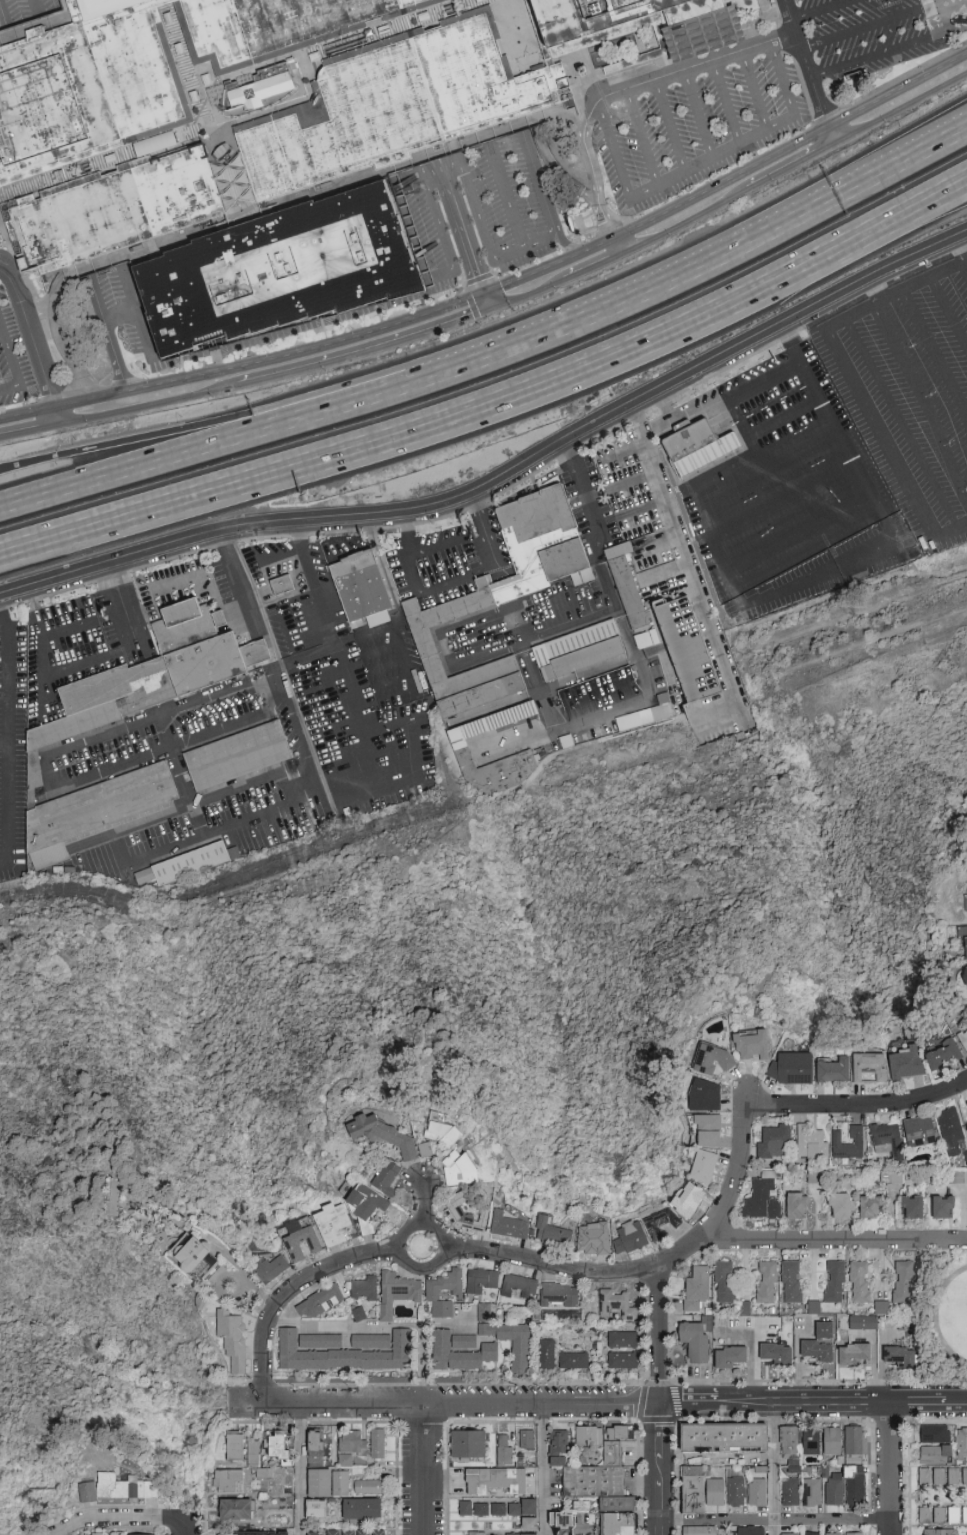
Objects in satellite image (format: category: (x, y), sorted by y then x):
road: (825, 12)
parking lot: (25, 13)
road: (45, 17)
road: (7, 22)
building: (645, 22)
road: (860, 30)
parking lot: (863, 35)
road: (545, 59)
road: (869, 59)
road: (186, 63)
road: (803, 63)
building: (143, 68)
road: (248, 72)
road: (896, 88)
road: (757, 90)
building: (262, 92)
road: (621, 92)
road: (790, 94)
road: (724, 104)
building: (394, 109)
road: (900, 109)
road: (270, 113)
road: (698, 115)
road: (669, 127)
parking lot: (698, 129)
road: (829, 136)
road: (641, 139)
road: (713, 159)
road: (617, 167)
road: (791, 168)
road: (560, 172)
road: (229, 173)
road: (542, 184)
road: (511, 198)
parking lot: (510, 201)
building: (115, 211)
road: (895, 212)
road: (658, 215)
road: (461, 220)
road: (482, 221)
road: (686, 222)
road: (895, 223)
road: (445, 238)
road: (567, 243)
road: (962, 250)
road: (2, 251)
road: (593, 266)
road: (696, 266)
building: (281, 270)
parking lot: (439, 279)
road: (924, 279)
road: (131, 290)
road: (528, 294)
road: (489, 301)
road: (38, 308)
road: (862, 308)
road: (949, 310)
road: (139, 315)
road: (105, 337)
road: (31, 341)
road: (64, 341)
road: (366, 351)
road: (157, 355)
road: (934, 356)
road: (245, 364)
parking lot: (13, 369)
road: (13, 370)
road: (721, 395)
road: (923, 400)
road: (147, 406)
road: (784, 419)
road: (902, 422)
road: (419, 424)
road: (206, 425)
road: (27, 429)
road: (881, 432)
road: (207, 442)
building: (703, 451)
road: (621, 452)
road: (729, 474)
road: (503, 476)
road: (621, 483)
road: (777, 483)
road: (788, 507)
road: (630, 509)
road: (484, 528)
road: (951, 530)
road: (407, 532)
road: (789, 534)
road: (656, 536)
road: (437, 543)
road: (689, 564)
road: (440, 585)
road: (153, 587)
building: (283, 587)
building: (362, 589)
building: (509, 602)
road: (326, 619)
building: (647, 637)
road: (486, 649)
building: (583, 656)
road: (64, 671)
road: (270, 672)
road: (688, 673)
road: (215, 693)
road: (638, 703)
road: (5, 732)
road: (519, 739)
road: (2, 740)
building: (46, 743)
building: (465, 750)
building: (240, 759)
road: (94, 769)
road: (189, 797)
road: (151, 818)
building: (191, 861)
building: (145, 874)
building: (964, 906)
building: (964, 946)
building: (966, 978)
building: (964, 1032)
building: (964, 1038)
building: (960, 1039)
building: (754, 1046)
building: (946, 1055)
building: (715, 1061)
building: (908, 1064)
building: (871, 1068)
building: (793, 1070)
building: (835, 1071)
road: (744, 1096)
building: (707, 1097)
building: (965, 1105)
building: (708, 1131)
building: (953, 1131)
building: (443, 1132)
building: (922, 1132)
building: (384, 1135)
building: (889, 1141)
building: (776, 1142)
building: (838, 1142)
building: (813, 1144)
building: (422, 1148)
building: (427, 1151)
building: (966, 1154)
building: (705, 1167)
building: (461, 1171)
building: (958, 1177)
building: (816, 1178)
building: (893, 1178)
building: (388, 1180)
road: (727, 1194)
building: (765, 1198)
road: (421, 1200)
building: (691, 1202)
building: (115, 1203)
building: (367, 1207)
building: (798, 1207)
building: (842, 1207)
building: (872, 1208)
building: (915, 1208)
building: (945, 1209)
building: (465, 1215)
building: (662, 1224)
building: (333, 1225)
building: (511, 1227)
building: (555, 1234)
building: (632, 1239)
road: (832, 1239)
building: (596, 1240)
building: (300, 1241)
building: (197, 1260)
road: (882, 1267)
road: (421, 1268)
building: (272, 1270)
building: (483, 1281)
building: (905, 1281)
building: (726, 1282)
building: (769, 1282)
building: (793, 1282)
building: (836, 1282)
building: (861, 1283)
building: (520, 1287)
road: (287, 1289)
building: (698, 1289)
building: (367, 1290)
building: (434, 1293)
building: (399, 1294)
building: (561, 1296)
building: (203, 1301)
building: (322, 1303)
building: (618, 1306)
building: (815, 1307)
building: (745, 1308)
building: (883, 1308)
road: (941, 1313)
building: (359, 1314)
building: (486, 1314)
park: (948, 1317)
building: (865, 1323)
road: (368, 1324)
building: (818, 1328)
road: (659, 1333)
building: (698, 1339)
building: (624, 1341)
building: (322, 1342)
building: (372, 1342)
building: (466, 1342)
building: (234, 1343)
building: (822, 1343)
building: (514, 1344)
building: (599, 1349)
building: (462, 1354)
building: (778, 1354)
building: (855, 1354)
building: (548, 1355)
building: (346, 1356)
building: (731, 1357)
building: (903, 1357)
building: (624, 1361)
building: (576, 1362)
road: (420, 1364)
road: (874, 1369)
road: (919, 1403)
road: (956, 1403)
road: (459, 1404)
road: (806, 1404)
road: (691, 1405)
building: (931, 1432)
road: (661, 1433)
building: (589, 1436)
building: (720, 1436)
building: (528, 1439)
building: (856, 1440)
building: (789, 1441)
building: (832, 1441)
building: (960, 1441)
building: (811, 1442)
building: (316, 1443)
building: (377, 1443)
building: (462, 1443)
building: (235, 1445)
building: (278, 1445)
building: (351, 1446)
building: (478, 1447)
building: (501, 1449)
building: (253, 1453)
building: (930, 1453)
road: (892, 1468)
road: (300, 1469)
road: (425, 1469)
road: (545, 1469)
building: (596, 1470)
road: (661, 1470)
road: (775, 1470)
building: (963, 1474)
building: (921, 1475)
building: (935, 1475)
building: (950, 1475)
building: (227, 1480)
building: (492, 1481)
building: (319, 1482)
building: (341, 1483)
building: (855, 1485)
building: (369, 1486)
building: (125, 1487)
building: (697, 1489)
building: (834, 1489)
building: (736, 1491)
building: (757, 1491)
building: (790, 1491)
building: (87, 1492)
building: (812, 1492)
road: (661, 1502)
building: (361, 1508)
building: (527, 1508)
building: (236, 1509)
building: (462, 1510)
building: (478, 1511)
building: (496, 1511)
building: (512, 1511)
road: (123, 1513)
building: (920, 1514)
building: (935, 1514)
building: (950, 1514)
building: (963, 1514)
building: (561, 1519)
building: (617, 1524)
road: (776, 1524)
building: (527, 1525)
road: (189, 1526)
road: (660, 1530)
building: (704, 1530)
building: (750, 1530)
road: (73, 1531)
building: (937, 1531)
building: (332, 1532)
building: (348, 1532)
building: (363, 1532)
building: (378, 1532)
building: (254, 1533)
building: (314, 1533)
building: (516, 1533)
building: (790, 1533)
building: (812, 1533)
building: (854, 1533)
building: (92, 1534)
building: (144, 1534)
building: (474, 1534)
building: (833, 1534)

